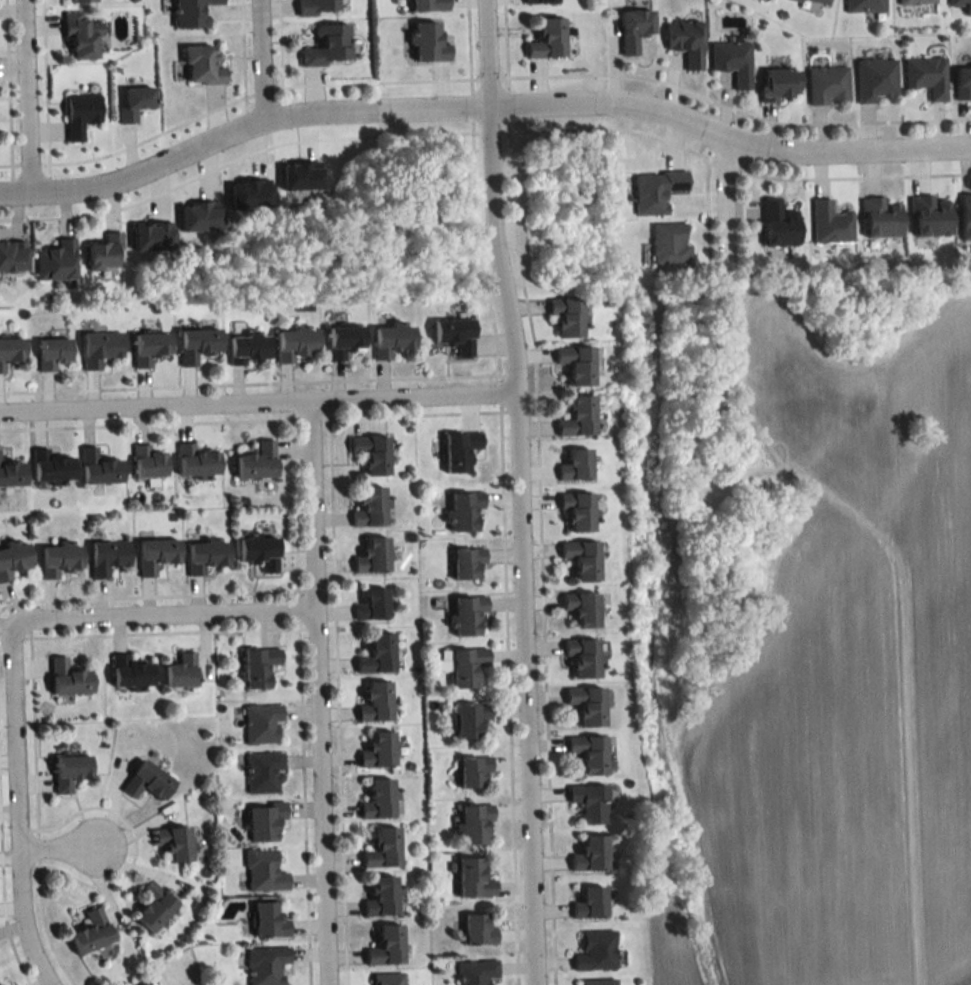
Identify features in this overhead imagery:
building: (83, 0)
building: (542, 1)
building: (819, 2)
building: (915, 2)
building: (958, 2)
building: (429, 4)
building: (865, 6)
building: (317, 7)
building: (191, 12)
building: (634, 29)
building: (80, 34)
building: (548, 39)
building: (686, 41)
building: (429, 42)
building: (328, 45)
road: (260, 59)
building: (732, 60)
building: (201, 65)
building: (926, 76)
building: (875, 79)
building: (962, 81)
building: (779, 83)
building: (828, 84)
road: (259, 90)
road: (25, 95)
building: (134, 103)
building: (80, 114)
road: (282, 114)
road: (488, 132)
road: (655, 137)
road: (303, 141)
road: (771, 147)
road: (710, 162)
road: (725, 166)
road: (853, 176)
building: (655, 190)
road: (722, 203)
road: (69, 214)
building: (930, 216)
building: (965, 217)
building: (881, 218)
building: (830, 223)
building: (779, 224)
building: (669, 243)
building: (105, 252)
building: (13, 256)
building: (56, 261)
building: (567, 316)
building: (455, 334)
building: (344, 339)
building: (392, 339)
building: (295, 343)
building: (197, 344)
building: (100, 348)
building: (149, 348)
building: (248, 348)
building: (10, 351)
building: (52, 353)
building: (577, 363)
road: (256, 398)
building: (579, 416)
building: (461, 450)
building: (372, 453)
building: (196, 461)
building: (257, 462)
building: (148, 463)
building: (577, 465)
building: (51, 467)
building: (99, 468)
building: (11, 473)
road: (516, 491)
building: (372, 508)
building: (579, 510)
building: (466, 511)
building: (259, 552)
building: (157, 555)
building: (206, 555)
building: (108, 557)
building: (374, 557)
building: (13, 559)
building: (584, 559)
building: (59, 560)
building: (468, 563)
building: (373, 606)
building: (584, 609)
building: (469, 615)
road: (163, 617)
building: (378, 655)
building: (584, 658)
building: (468, 666)
building: (259, 667)
building: (182, 671)
building: (130, 673)
crop: (846, 677)
building: (69, 678)
road: (318, 690)
building: (377, 703)
building: (588, 705)
building: (471, 719)
building: (262, 723)
building: (379, 751)
building: (589, 753)
building: (70, 771)
building: (474, 771)
building: (265, 772)
building: (147, 781)
building: (381, 800)
building: (590, 802)
road: (16, 808)
building: (265, 821)
building: (476, 825)
building: (174, 843)
road: (61, 847)
building: (384, 849)
building: (590, 855)
building: (264, 872)
building: (474, 880)
building: (384, 897)
building: (590, 903)
building: (153, 906)
building: (269, 921)
building: (479, 931)
building: (92, 932)
building: (387, 947)
crop: (672, 949)
building: (596, 952)
building: (267, 965)
building: (477, 972)
building: (387, 979)
building: (599, 982)
building: (144, 984)

